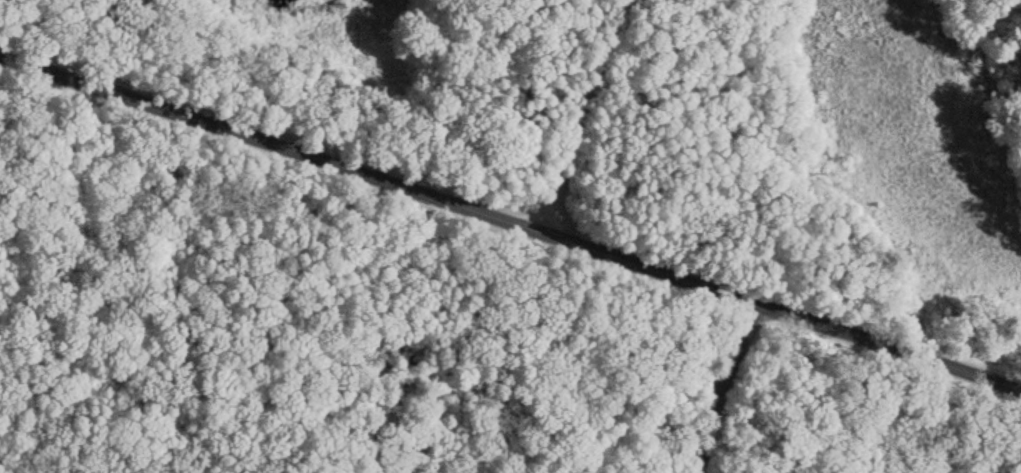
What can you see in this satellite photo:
road: (569, 111)
road: (512, 218)
road: (541, 251)
road: (230, 268)
road: (514, 381)
road: (714, 387)

